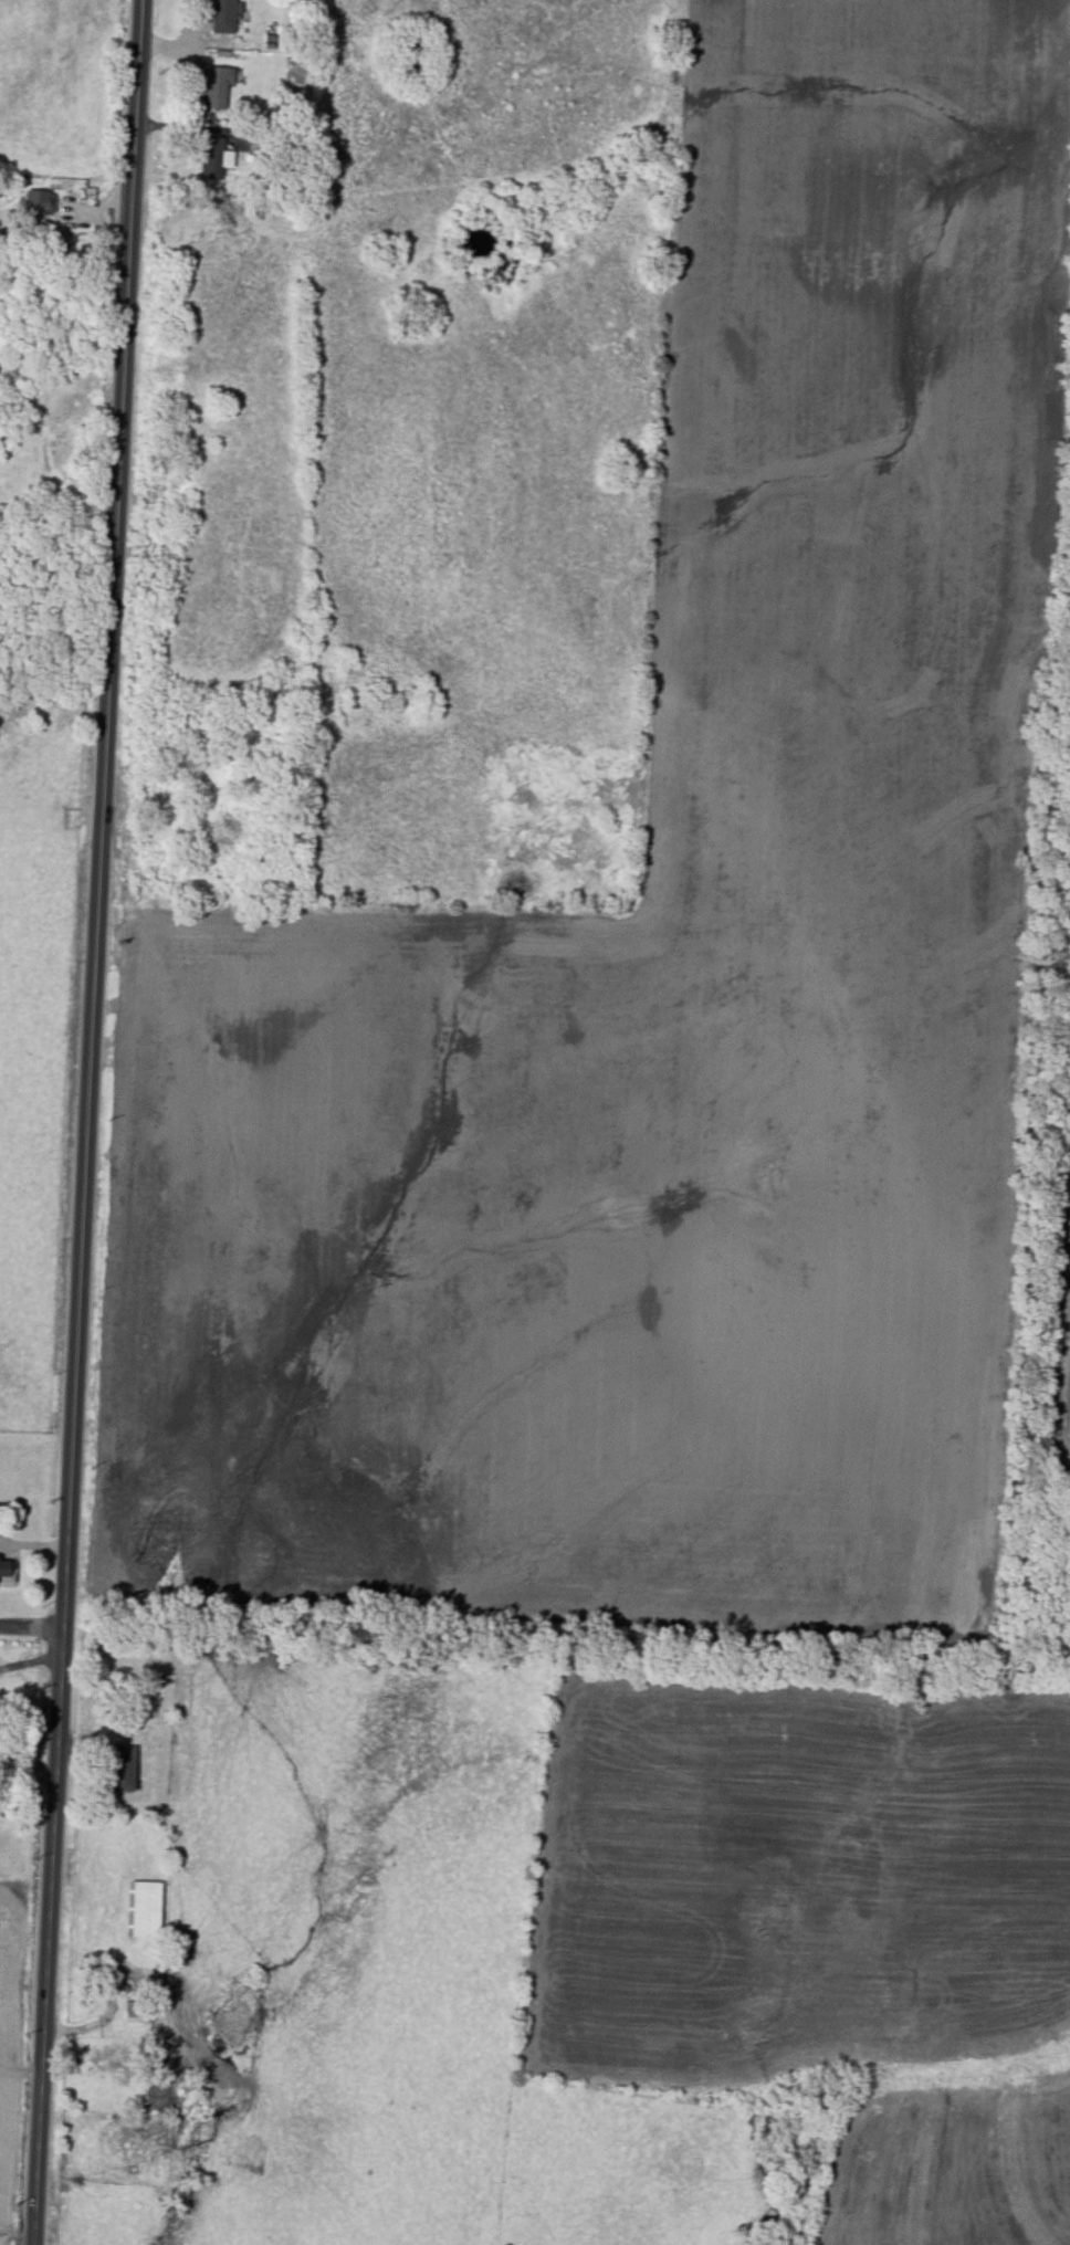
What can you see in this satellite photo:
building: (223, 15)
building: (216, 86)
building: (214, 157)
building: (38, 201)
road: (51, 445)
crop: (664, 975)
road: (88, 1122)
crop: (1058, 1213)
road: (33, 1544)
building: (7, 1571)
road: (32, 1625)
crop: (1067, 1641)
road: (30, 1661)
building: (123, 1767)
building: (145, 1909)
crop: (819, 1928)
crop: (14, 2043)

